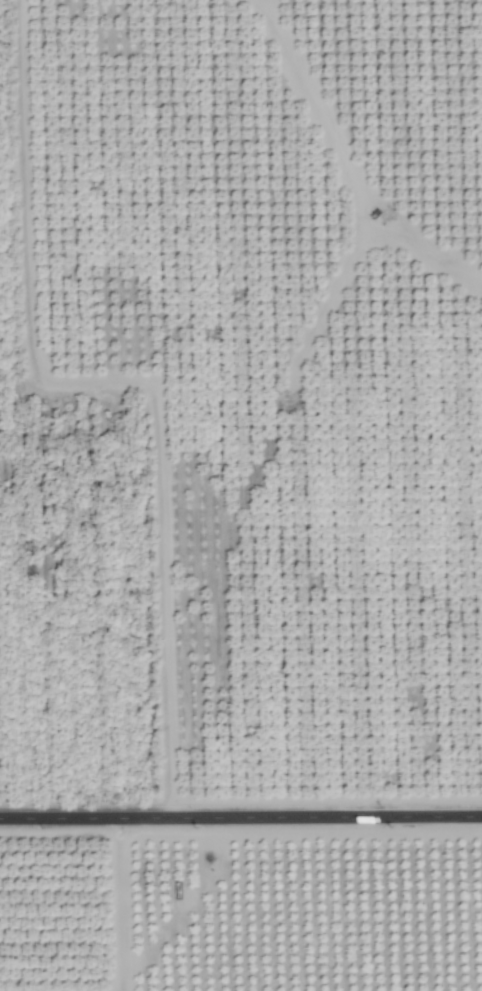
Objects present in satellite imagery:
road: (241, 817)

